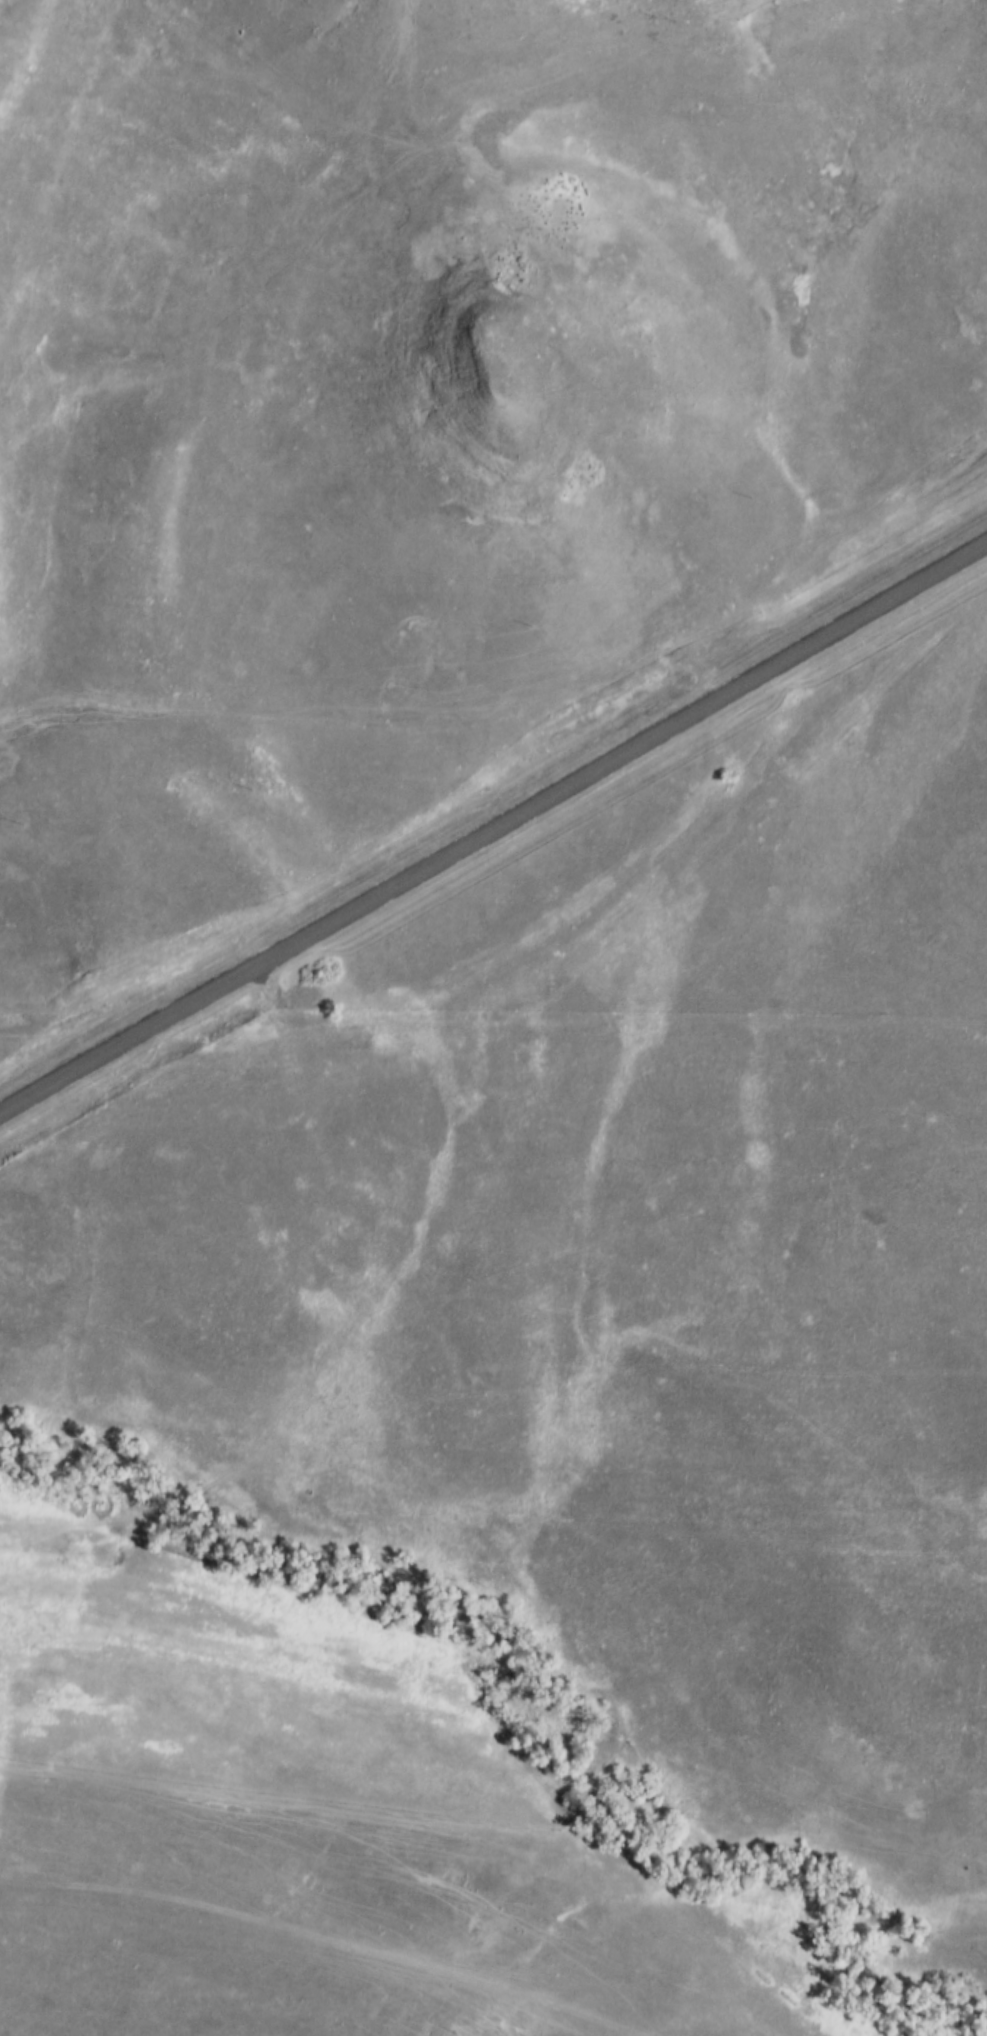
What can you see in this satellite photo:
road: (493, 825)

